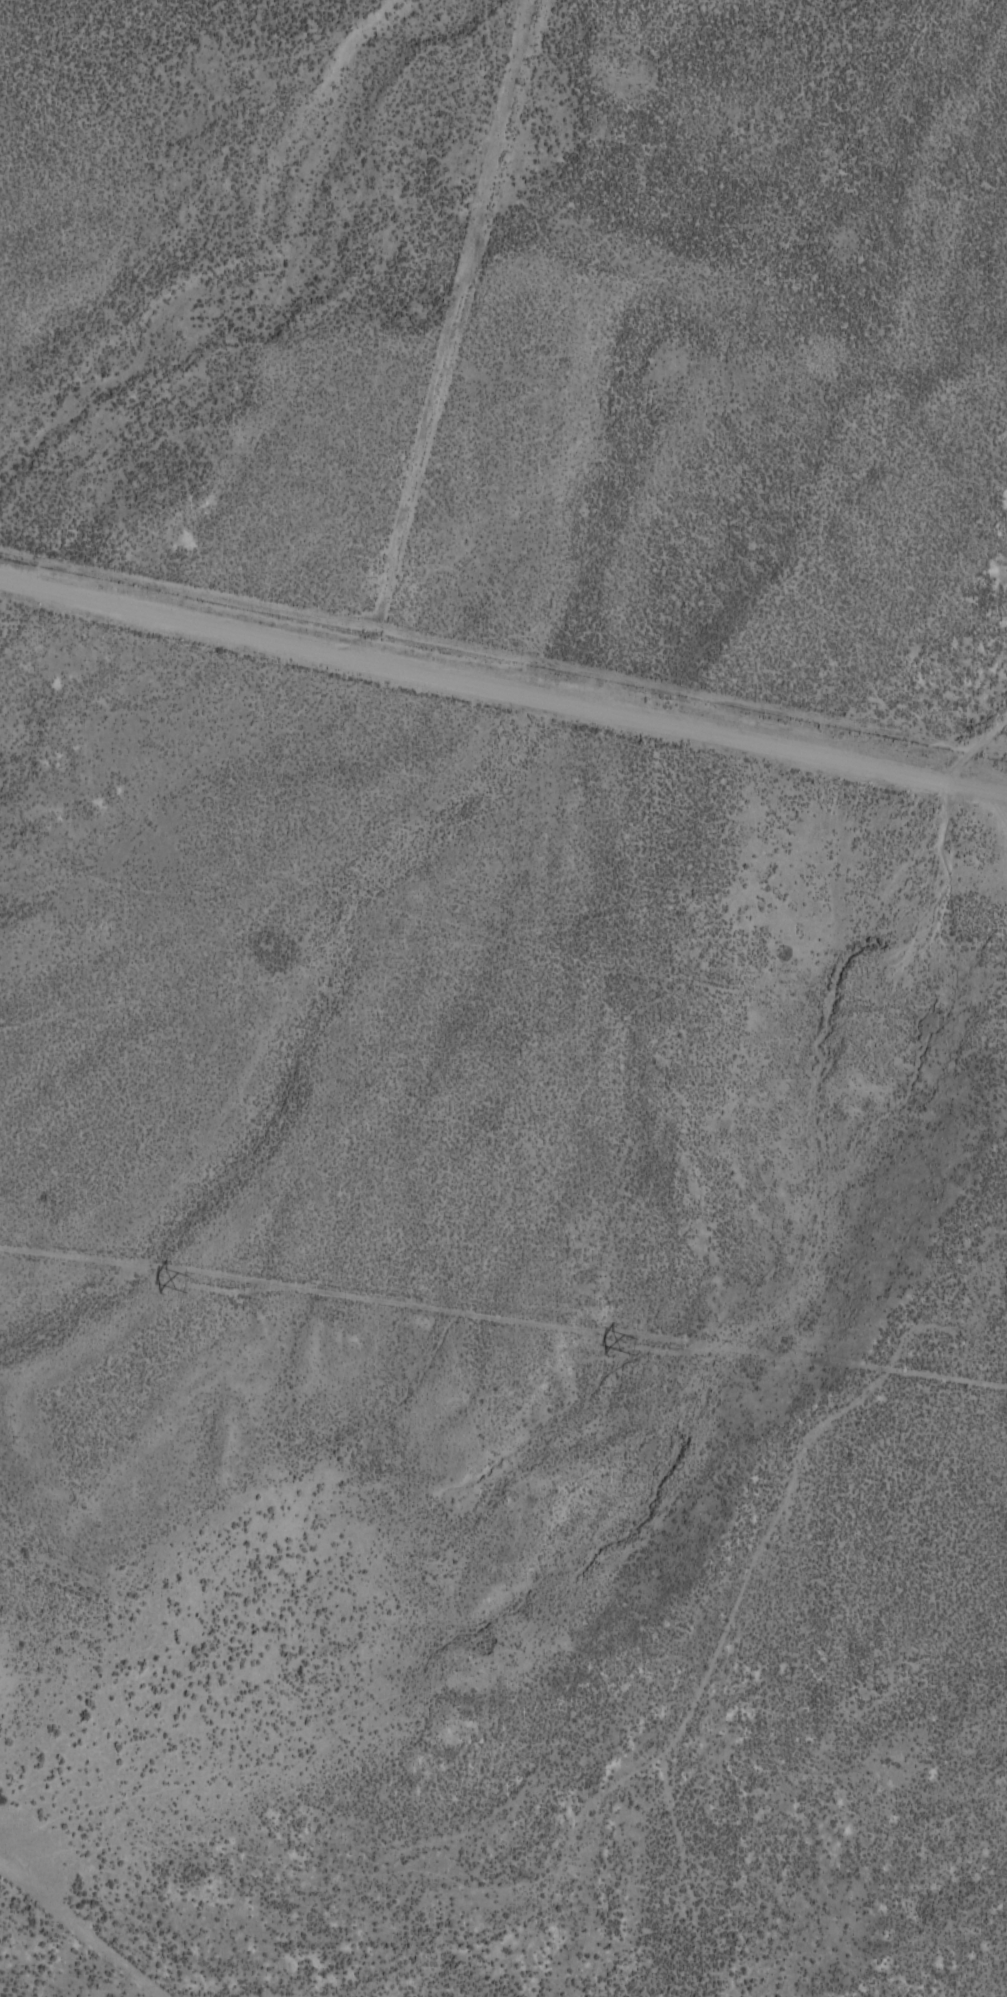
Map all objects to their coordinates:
road: (479, 681)
road: (983, 736)
road: (983, 759)
road: (983, 787)
power tower: (190, 1284)
power tower: (636, 1347)

